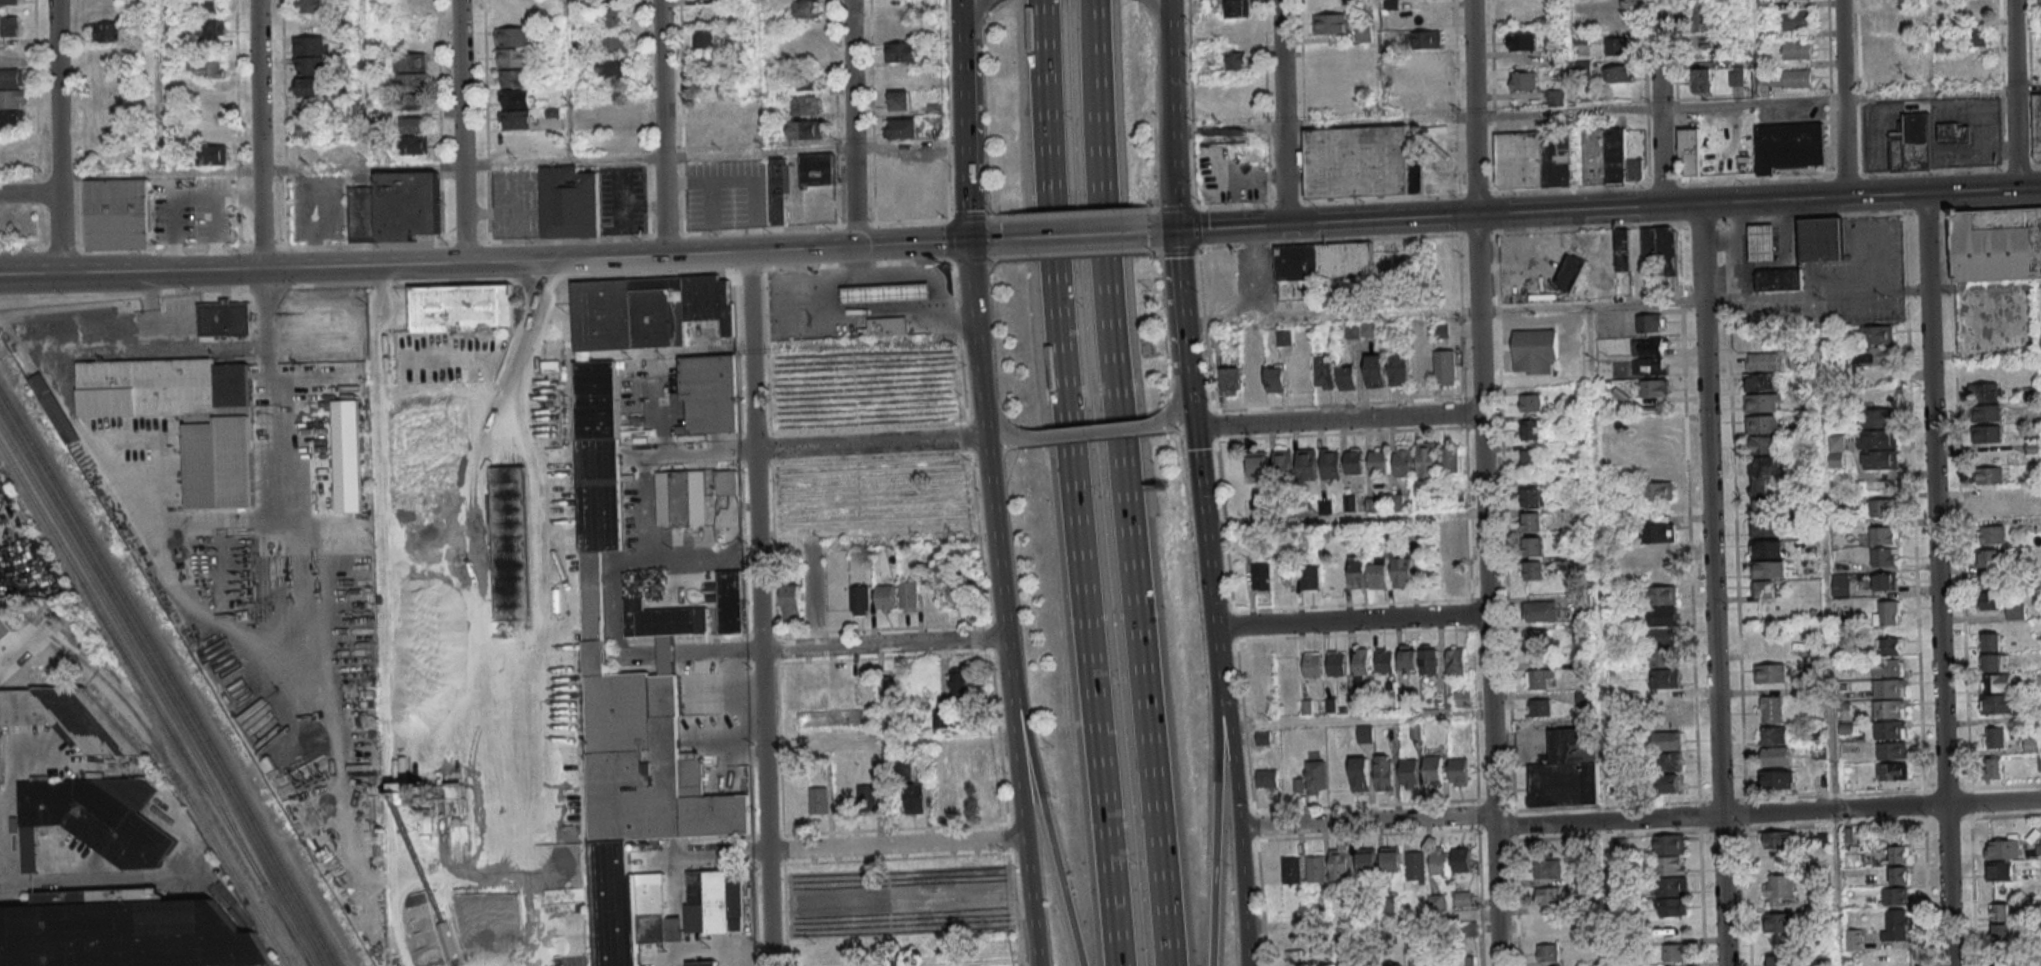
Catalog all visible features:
building: (611, 0)
building: (1617, 0)
road: (1148, 1)
building: (10, 2)
road: (986, 2)
building: (2038, 2)
building: (310, 6)
building: (208, 7)
building: (1239, 8)
building: (1514, 8)
building: (807, 9)
building: (1978, 9)
road: (1168, 13)
road: (1159, 14)
road: (961, 15)
building: (614, 17)
road: (972, 17)
building: (1618, 18)
building: (1700, 18)
building: (1796, 20)
building: (1332, 23)
building: (1884, 23)
building: (8, 26)
building: (209, 27)
building: (108, 31)
building: (1364, 31)
building: (1978, 36)
building: (513, 37)
building: (708, 37)
building: (1520, 41)
building: (619, 44)
road: (2013, 44)
building: (1884, 45)
building: (1617, 46)
building: (1425, 50)
building: (1797, 50)
building: (902, 52)
building: (310, 55)
road: (963, 56)
road: (1281, 59)
building: (1237, 60)
building: (411, 61)
building: (710, 61)
building: (1916, 63)
building: (613, 65)
building: (208, 69)
building: (1619, 73)
building: (1736, 76)
building: (513, 78)
building: (1797, 78)
building: (810, 80)
building: (1523, 80)
building: (1700, 80)
building: (1426, 81)
building: (412, 82)
building: (306, 86)
building: (11, 89)
road: (1941, 92)
road: (55, 97)
building: (1555, 97)
road: (1842, 98)
building: (901, 99)
building: (413, 102)
road: (1658, 103)
building: (806, 105)
road: (1472, 107)
building: (515, 109)
building: (715, 110)
building: (614, 113)
road: (1507, 114)
building: (746, 115)
building: (12, 121)
road: (852, 123)
building: (2037, 126)
building: (309, 128)
road: (662, 128)
building: (903, 128)
road: (1171, 128)
building: (804, 130)
building: (211, 131)
road: (460, 131)
building: (1953, 132)
road: (258, 135)
building: (415, 135)
building: (710, 135)
road: (2015, 138)
building: (1911, 143)
building: (1789, 146)
building: (312, 151)
road: (758, 151)
building: (1690, 151)
building: (214, 154)
building: (1610, 158)
building: (1533, 159)
road: (966, 161)
building: (1361, 162)
road: (1283, 171)
building: (800, 179)
road: (724, 181)
road: (29, 194)
road: (1870, 195)
building: (570, 201)
road: (1680, 205)
building: (395, 207)
road: (625, 207)
road: (1159, 208)
road: (1073, 212)
building: (117, 214)
road: (1473, 215)
road: (1594, 226)
road: (1230, 227)
road: (1165, 230)
traffic signals: (1175, 230)
road: (58, 233)
road: (1068, 235)
building: (1820, 239)
traffic signals: (969, 240)
road: (975, 240)
road: (500, 241)
building: (1760, 241)
building: (1997, 244)
building: (1661, 247)
building: (1622, 250)
road: (1701, 252)
road: (1075, 253)
road: (998, 257)
road: (972, 258)
building: (1324, 261)
road: (484, 262)
building: (1570, 272)
road: (475, 278)
building: (1777, 279)
road: (1178, 281)
building: (884, 292)
road: (1814, 295)
road: (148, 298)
building: (707, 300)
building: (456, 308)
road: (1443, 311)
building: (627, 312)
building: (224, 320)
building: (1650, 323)
road: (974, 324)
building: (885, 325)
building: (1360, 330)
road: (354, 333)
building: (1876, 334)
building: (1150, 347)
building: (1535, 351)
road: (98, 355)
building: (1874, 355)
building: (1648, 356)
building: (1762, 361)
building: (1445, 367)
building: (1424, 368)
building: (1253, 369)
building: (1400, 369)
building: (1375, 370)
building: (1604, 370)
building: (1323, 371)
building: (1347, 377)
building: (1276, 378)
building: (1230, 380)
building: (1761, 382)
building: (1653, 388)
building: (706, 392)
building: (1986, 392)
building: (1531, 402)
building: (1762, 402)
building: (52, 407)
road: (1171, 410)
building: (1986, 413)
road: (1337, 420)
building: (1762, 424)
road: (1001, 427)
building: (1653, 428)
building: (1530, 429)
building: (1987, 434)
road: (1086, 435)
building: (1879, 438)
building: (1763, 444)
road: (870, 445)
building: (1656, 450)
building: (1836, 450)
building: (347, 455)
building: (596, 455)
building: (1427, 455)
building: (1306, 457)
building: (1532, 458)
building: (1354, 460)
building: (1379, 460)
building: (1403, 460)
building: (218, 461)
building: (1331, 463)
building: (1256, 466)
building: (1763, 475)
building: (1988, 475)
building: (724, 483)
road: (1070, 483)
road: (1120, 483)
road: (116, 485)
road: (379, 491)
building: (1658, 491)
building: (1534, 497)
building: (678, 498)
building: (1989, 503)
road: (1202, 506)
building: (1767, 507)
building: (1881, 507)
road: (1344, 518)
building: (1532, 521)
building: (1454, 526)
building: (1766, 528)
building: (1992, 534)
building: (1884, 535)
road: (995, 537)
building: (1659, 541)
building: (509, 543)
building: (1767, 548)
building: (1884, 556)
building: (1534, 558)
building: (1988, 558)
building: (1767, 569)
building: (1403, 571)
building: (1358, 572)
building: (1379, 572)
building: (1261, 577)
building: (1310, 578)
road: (1937, 579)
building: (1286, 580)
building: (1990, 580)
building: (1884, 581)
building: (1763, 589)
road: (1487, 590)
building: (908, 594)
building: (961, 595)
building: (1662, 595)
building: (885, 597)
building: (860, 600)
building: (1990, 600)
building: (727, 601)
building: (792, 601)
road: (758, 609)
building: (1540, 611)
building: (2015, 611)
building: (1888, 612)
building: (1662, 616)
road: (1351, 621)
building: (661, 627)
building: (5, 629)
road: (1828, 630)
road: (1713, 633)
road: (1598, 636)
building: (1661, 636)
building: (1541, 640)
railway: (126, 642)
building: (1772, 642)
building: (1992, 642)
road: (882, 643)
building: (1892, 645)
road: (466, 649)
building: (1409, 657)
building: (1582, 658)
building: (1429, 659)
building: (1386, 660)
building: (1456, 661)
building: (1995, 662)
building: (1337, 663)
building: (1361, 663)
building: (1265, 664)
building: (1312, 664)
building: (1889, 667)
building: (1664, 668)
building: (1770, 672)
building: (1538, 677)
railway: (169, 680)
building: (959, 683)
building: (1998, 683)
building: (890, 688)
building: (1889, 688)
railway: (164, 689)
road: (330, 692)
building: (1584, 697)
building: (1463, 698)
building: (1995, 704)
railway: (156, 705)
building: (1539, 707)
building: (1890, 708)
building: (1770, 709)
building: (67, 717)
building: (831, 717)
building: (944, 718)
road: (1359, 720)
building: (1890, 729)
building: (1365, 733)
building: (1774, 735)
building: (1994, 737)
building: (1667, 740)
building: (2031, 744)
building: (640, 748)
building: (1819, 749)
building: (1892, 750)
building: (1775, 756)
road: (1017, 761)
building: (2040, 762)
building: (1993, 768)
building: (1433, 770)
building: (1458, 770)
building: (1567, 770)
building: (1892, 771)
building: (1384, 772)
building: (1360, 773)
building: (1409, 773)
building: (1267, 778)
building: (1312, 778)
building: (1777, 779)
building: (1668, 782)
railway: (181, 787)
road: (387, 791)
building: (867, 796)
building: (940, 796)
building: (915, 798)
building: (818, 801)
road: (1045, 816)
road: (1639, 817)
building: (93, 819)
road: (1214, 822)
road: (1237, 822)
building: (1776, 839)
road: (896, 844)
building: (2003, 848)
building: (1670, 854)
building: (1900, 854)
building: (1391, 859)
building: (1461, 859)
building: (1368, 861)
building: (1440, 861)
building: (1339, 864)
building: (1415, 865)
building: (1316, 868)
building: (1548, 868)
building: (1291, 869)
building: (1999, 870)
building: (1899, 875)
road: (103, 882)
building: (1778, 889)
building: (1548, 896)
building: (1672, 896)
building: (1895, 896)
building: (1463, 899)
building: (1437, 902)
road: (1031, 911)
road: (1371, 921)
building: (1779, 922)
building: (2002, 923)
building: (1896, 924)
building: (1546, 925)
building: (126, 931)
building: (1855, 940)
road: (710, 952)
building: (1548, 952)
building: (1675, 952)
building: (2003, 954)
building: (1466, 960)
building: (1778, 960)
building: (1419, 962)
building: (703, 963)
building: (1347, 963)
building: (1297, 964)
building: (1371, 965)
building: (1396, 965)
building: (2003, 965)

